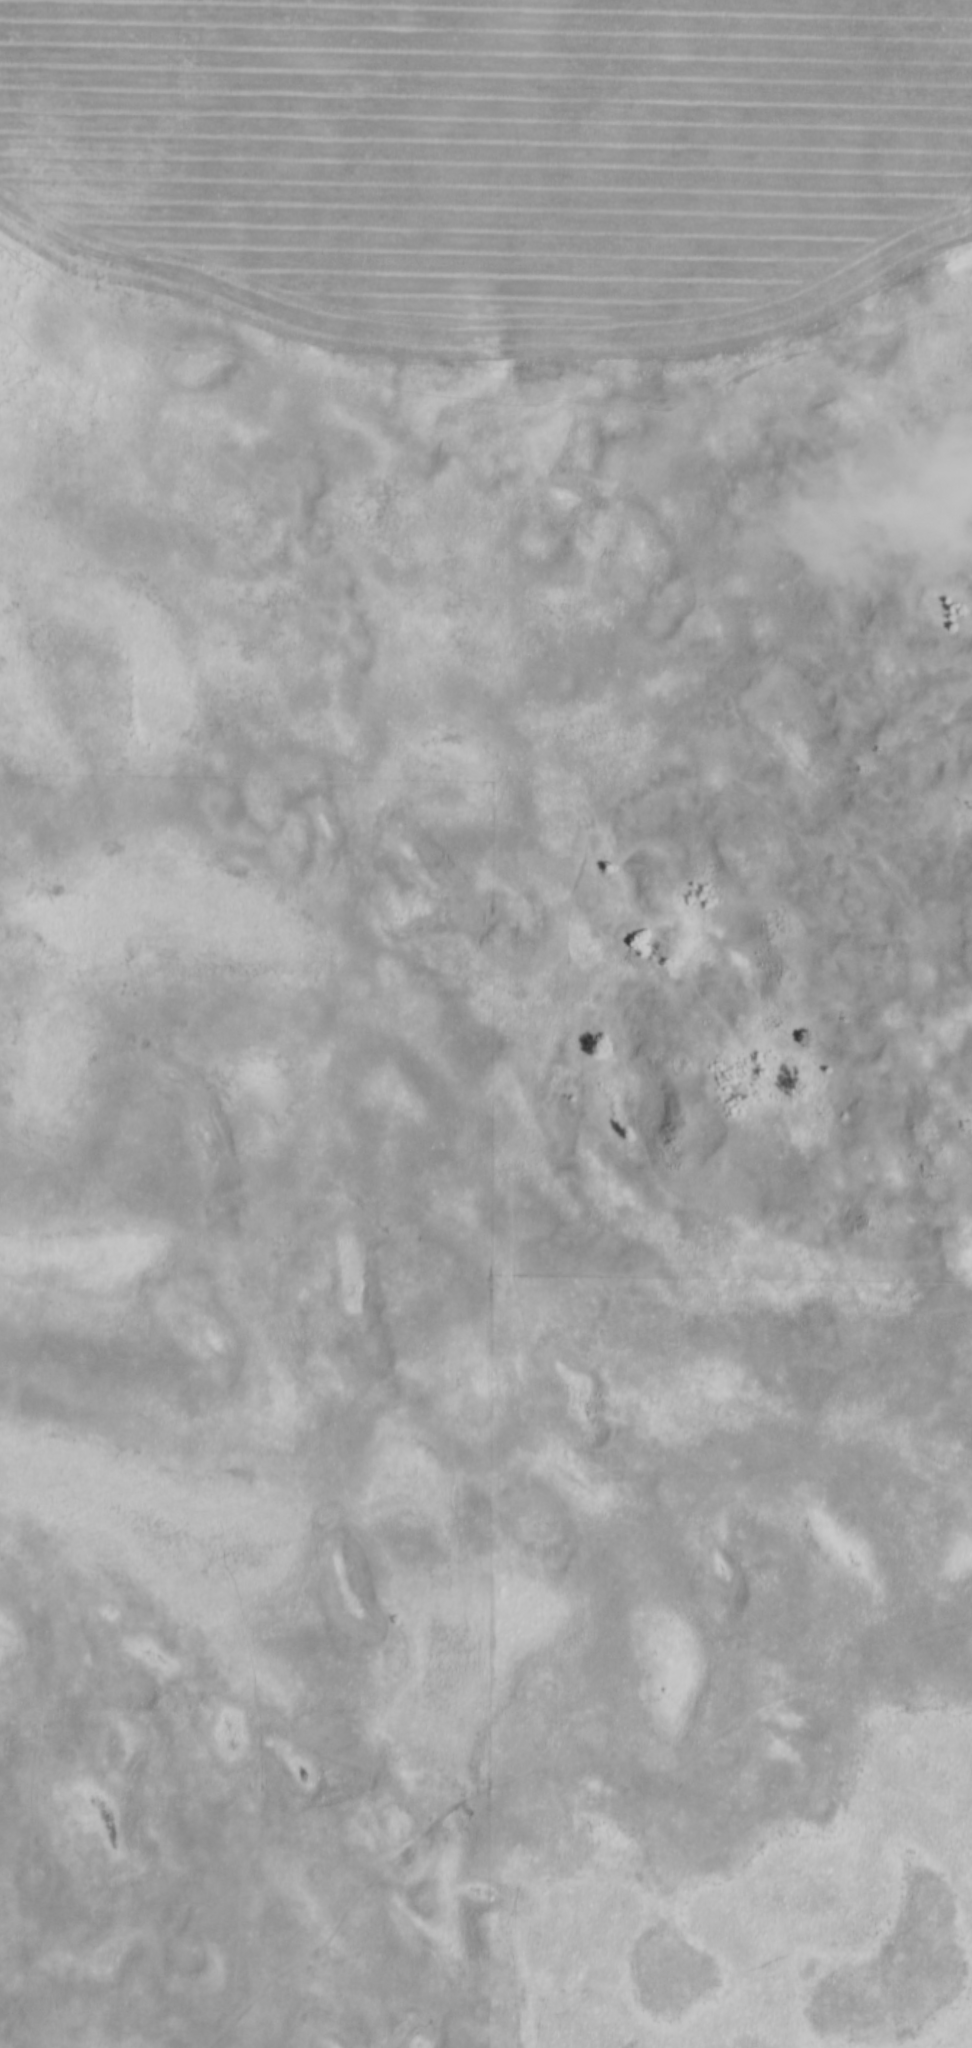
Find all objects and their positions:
road: (551, 1765)

